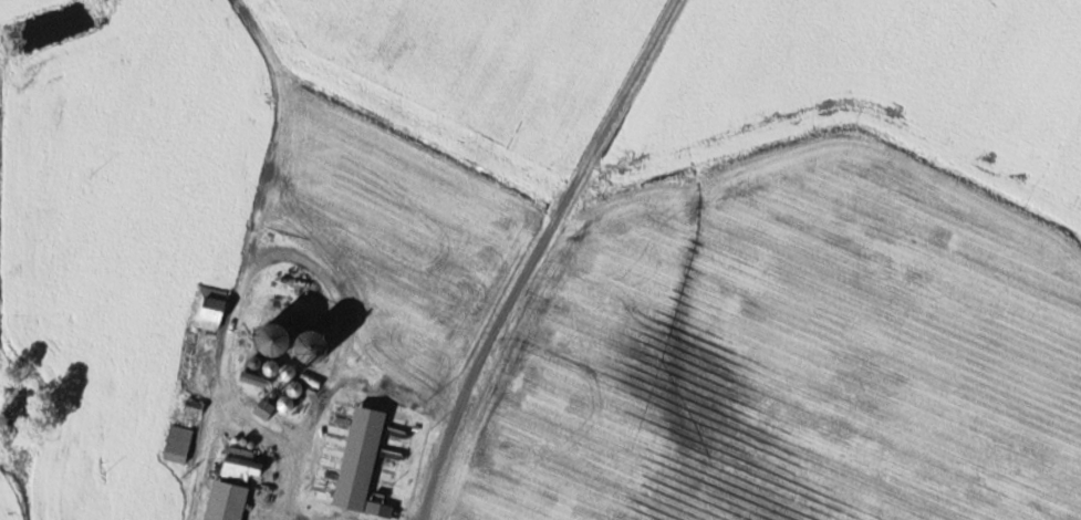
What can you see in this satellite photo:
building: (208, 309)
building: (266, 343)
building: (302, 350)
building: (252, 381)
building: (194, 406)
building: (262, 410)
building: (178, 445)
building: (358, 459)
building: (242, 466)
building: (226, 502)

